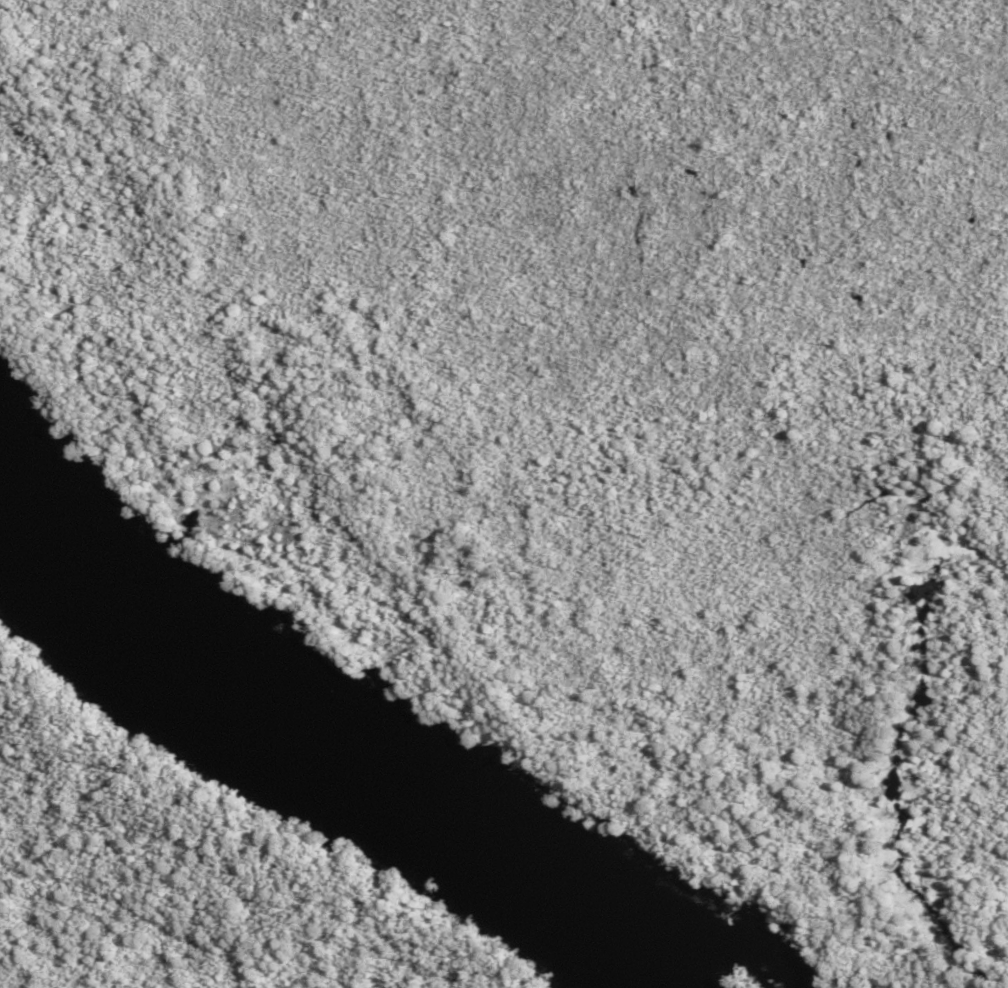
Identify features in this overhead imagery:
river: (715, 932)

